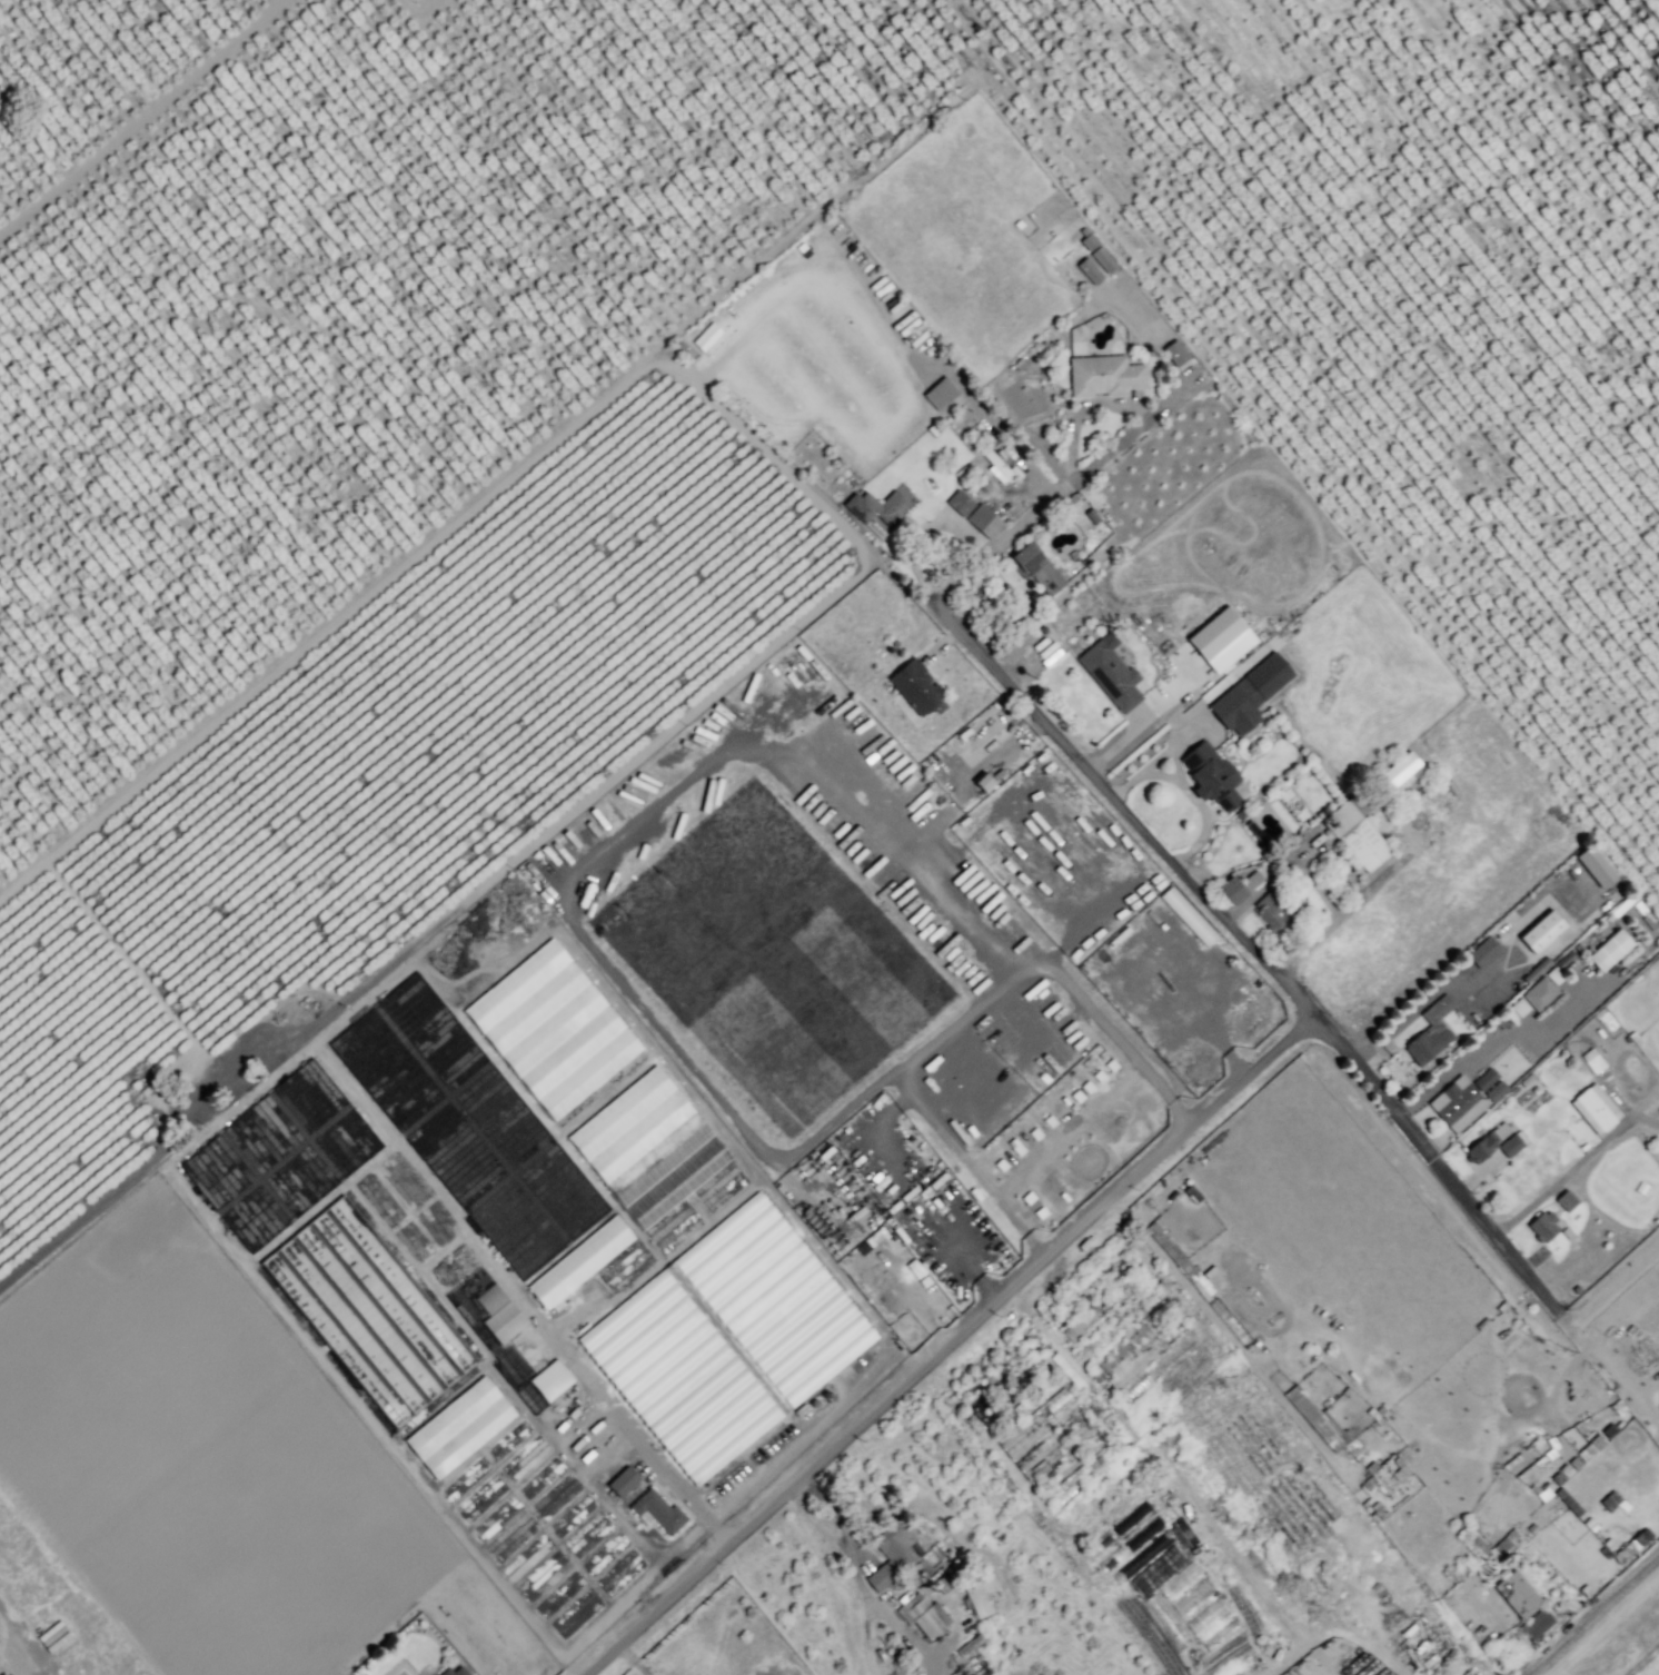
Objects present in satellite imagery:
road: (138, 119)
building: (1089, 242)
building: (841, 248)
building: (1104, 260)
building: (853, 261)
building: (1090, 271)
building: (1175, 353)
building: (1104, 376)
building: (941, 394)
building: (933, 430)
building: (1001, 453)
building: (1010, 464)
building: (997, 468)
building: (986, 486)
road: (1056, 495)
building: (1069, 500)
building: (960, 503)
building: (874, 512)
building: (1092, 516)
building: (984, 522)
building: (1072, 554)
building: (1037, 568)
building: (1222, 640)
building: (1111, 673)
building: (915, 686)
building: (1250, 694)
building: (910, 745)
building: (1400, 774)
building: (1209, 777)
building: (982, 781)
building: (903, 782)
road: (1188, 789)
building: (872, 791)
road: (1121, 805)
building: (1242, 813)
building: (887, 822)
building: (1357, 832)
building: (1255, 833)
road: (1284, 864)
building: (1596, 866)
building: (1250, 881)
building: (1232, 890)
road: (1353, 903)
building: (1622, 904)
building: (1639, 908)
building: (1275, 911)
building: (1650, 922)
building: (1541, 931)
building: (1658, 940)
building: (1577, 946)
building: (1611, 950)
building: (1483, 952)
building: (1563, 959)
building: (1546, 961)
building: (1554, 975)
building: (1540, 993)
building: (1520, 1007)
road: (967, 1020)
building: (552, 1029)
building: (1430, 1031)
building: (1632, 1035)
building: (1592, 1059)
building: (1381, 1070)
building: (1526, 1079)
building: (1484, 1080)
building: (1536, 1089)
building: (1493, 1090)
building: (1511, 1091)
building: (1457, 1103)
building: (1595, 1108)
building: (469, 1126)
building: (1512, 1143)
building: (648, 1147)
building: (1583, 1147)
building: (1481, 1148)
building: (280, 1154)
road: (1431, 1160)
road: (1578, 1162)
crop: (585, 1199)
building: (1566, 1200)
building: (411, 1205)
building: (1543, 1226)
building: (1566, 1232)
building: (1175, 1261)
building: (579, 1263)
building: (1576, 1289)
building: (490, 1298)
building: (1099, 1298)
building: (1501, 1306)
building: (369, 1311)
building: (504, 1322)
building: (1481, 1324)
building: (726, 1338)
road: (946, 1345)
building: (1143, 1350)
road: (1609, 1362)
building: (1063, 1367)
building: (550, 1380)
building: (825, 1394)
building: (814, 1403)
building: (801, 1410)
building: (1318, 1420)
building: (457, 1429)
building: (1050, 1443)
building: (1592, 1444)
building: (1520, 1460)
building: (1570, 1464)
building: (1400, 1470)
building: (623, 1481)
building: (1126, 1484)
building: (1544, 1491)
building: (1065, 1493)
building: (1562, 1495)
building: (1605, 1507)
building: (657, 1512)
building: (1131, 1517)
building: (1397, 1532)
road: (842, 1533)
building: (1143, 1534)
building: (1513, 1537)
building: (1472, 1543)
building: (894, 1545)
building: (1629, 1547)
building: (1150, 1552)
building: (1443, 1575)
building: (880, 1578)
building: (1179, 1580)
building: (940, 1582)
building: (1517, 1594)
building: (975, 1596)
building: (1191, 1599)
road: (1591, 1613)
building: (923, 1615)
building: (1204, 1616)
building: (1537, 1624)
road: (1607, 1628)
road: (903, 1634)
road: (17, 1637)
road: (863, 1637)
building: (1013, 1653)
road: (628, 1659)
building: (977, 1667)
building: (455, 1672)
building: (1014, 1673)

